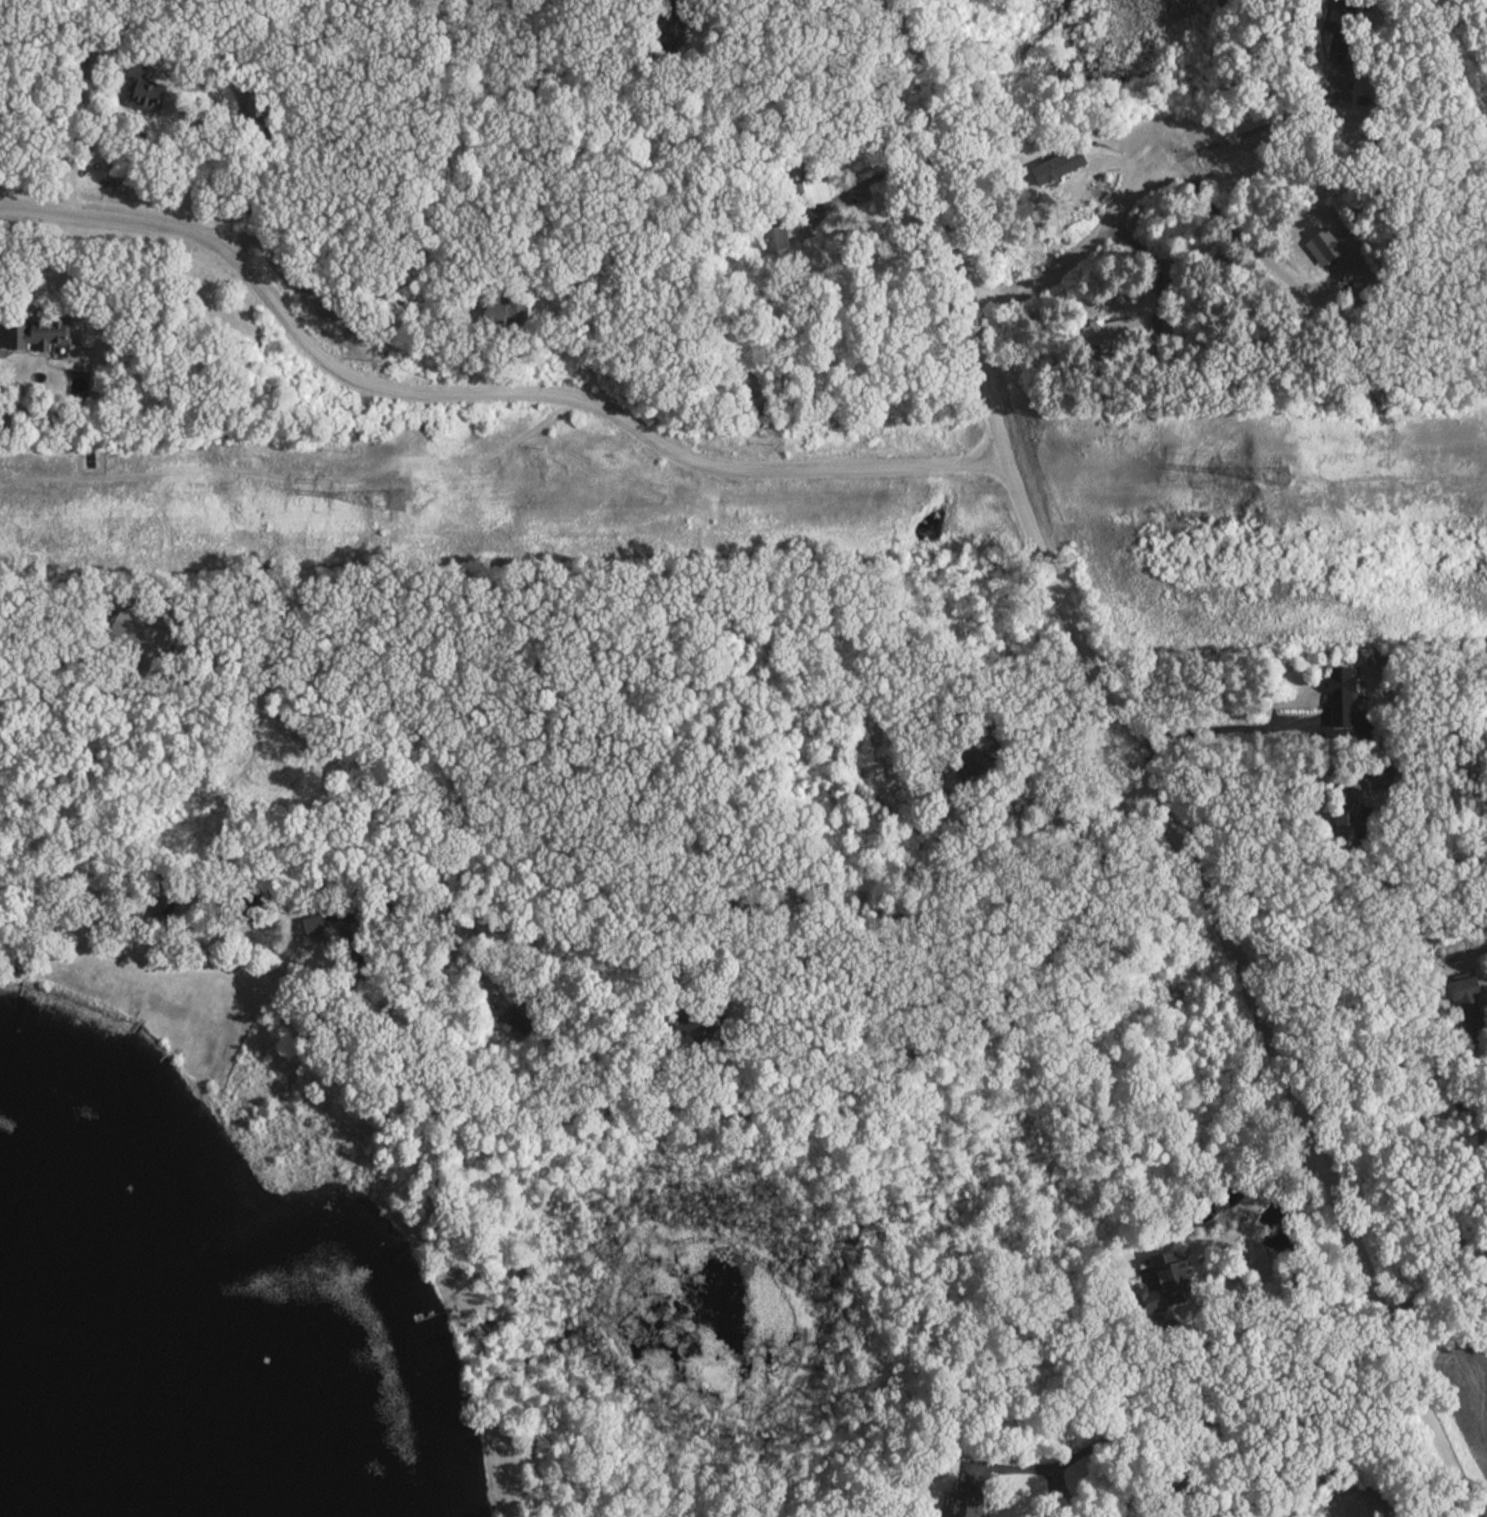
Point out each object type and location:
road: (596, 18)
building: (1335, 23)
road: (1006, 78)
building: (142, 92)
road: (74, 130)
road: (1240, 131)
building: (1054, 170)
building: (806, 186)
road: (1218, 239)
building: (1324, 246)
road: (1073, 257)
road: (330, 282)
building: (508, 312)
building: (39, 333)
road: (479, 396)
power tower: (1278, 480)
power tower: (396, 503)
building: (1341, 697)
road: (1210, 734)
building: (968, 763)
road: (1141, 773)
building: (1377, 779)
building: (1348, 797)
road: (1251, 805)
building: (164, 911)
building: (322, 926)
building: (1466, 999)
road: (631, 1091)
building: (1172, 1277)
crop: (1471, 1383)
road: (1203, 1432)
building: (968, 1496)

